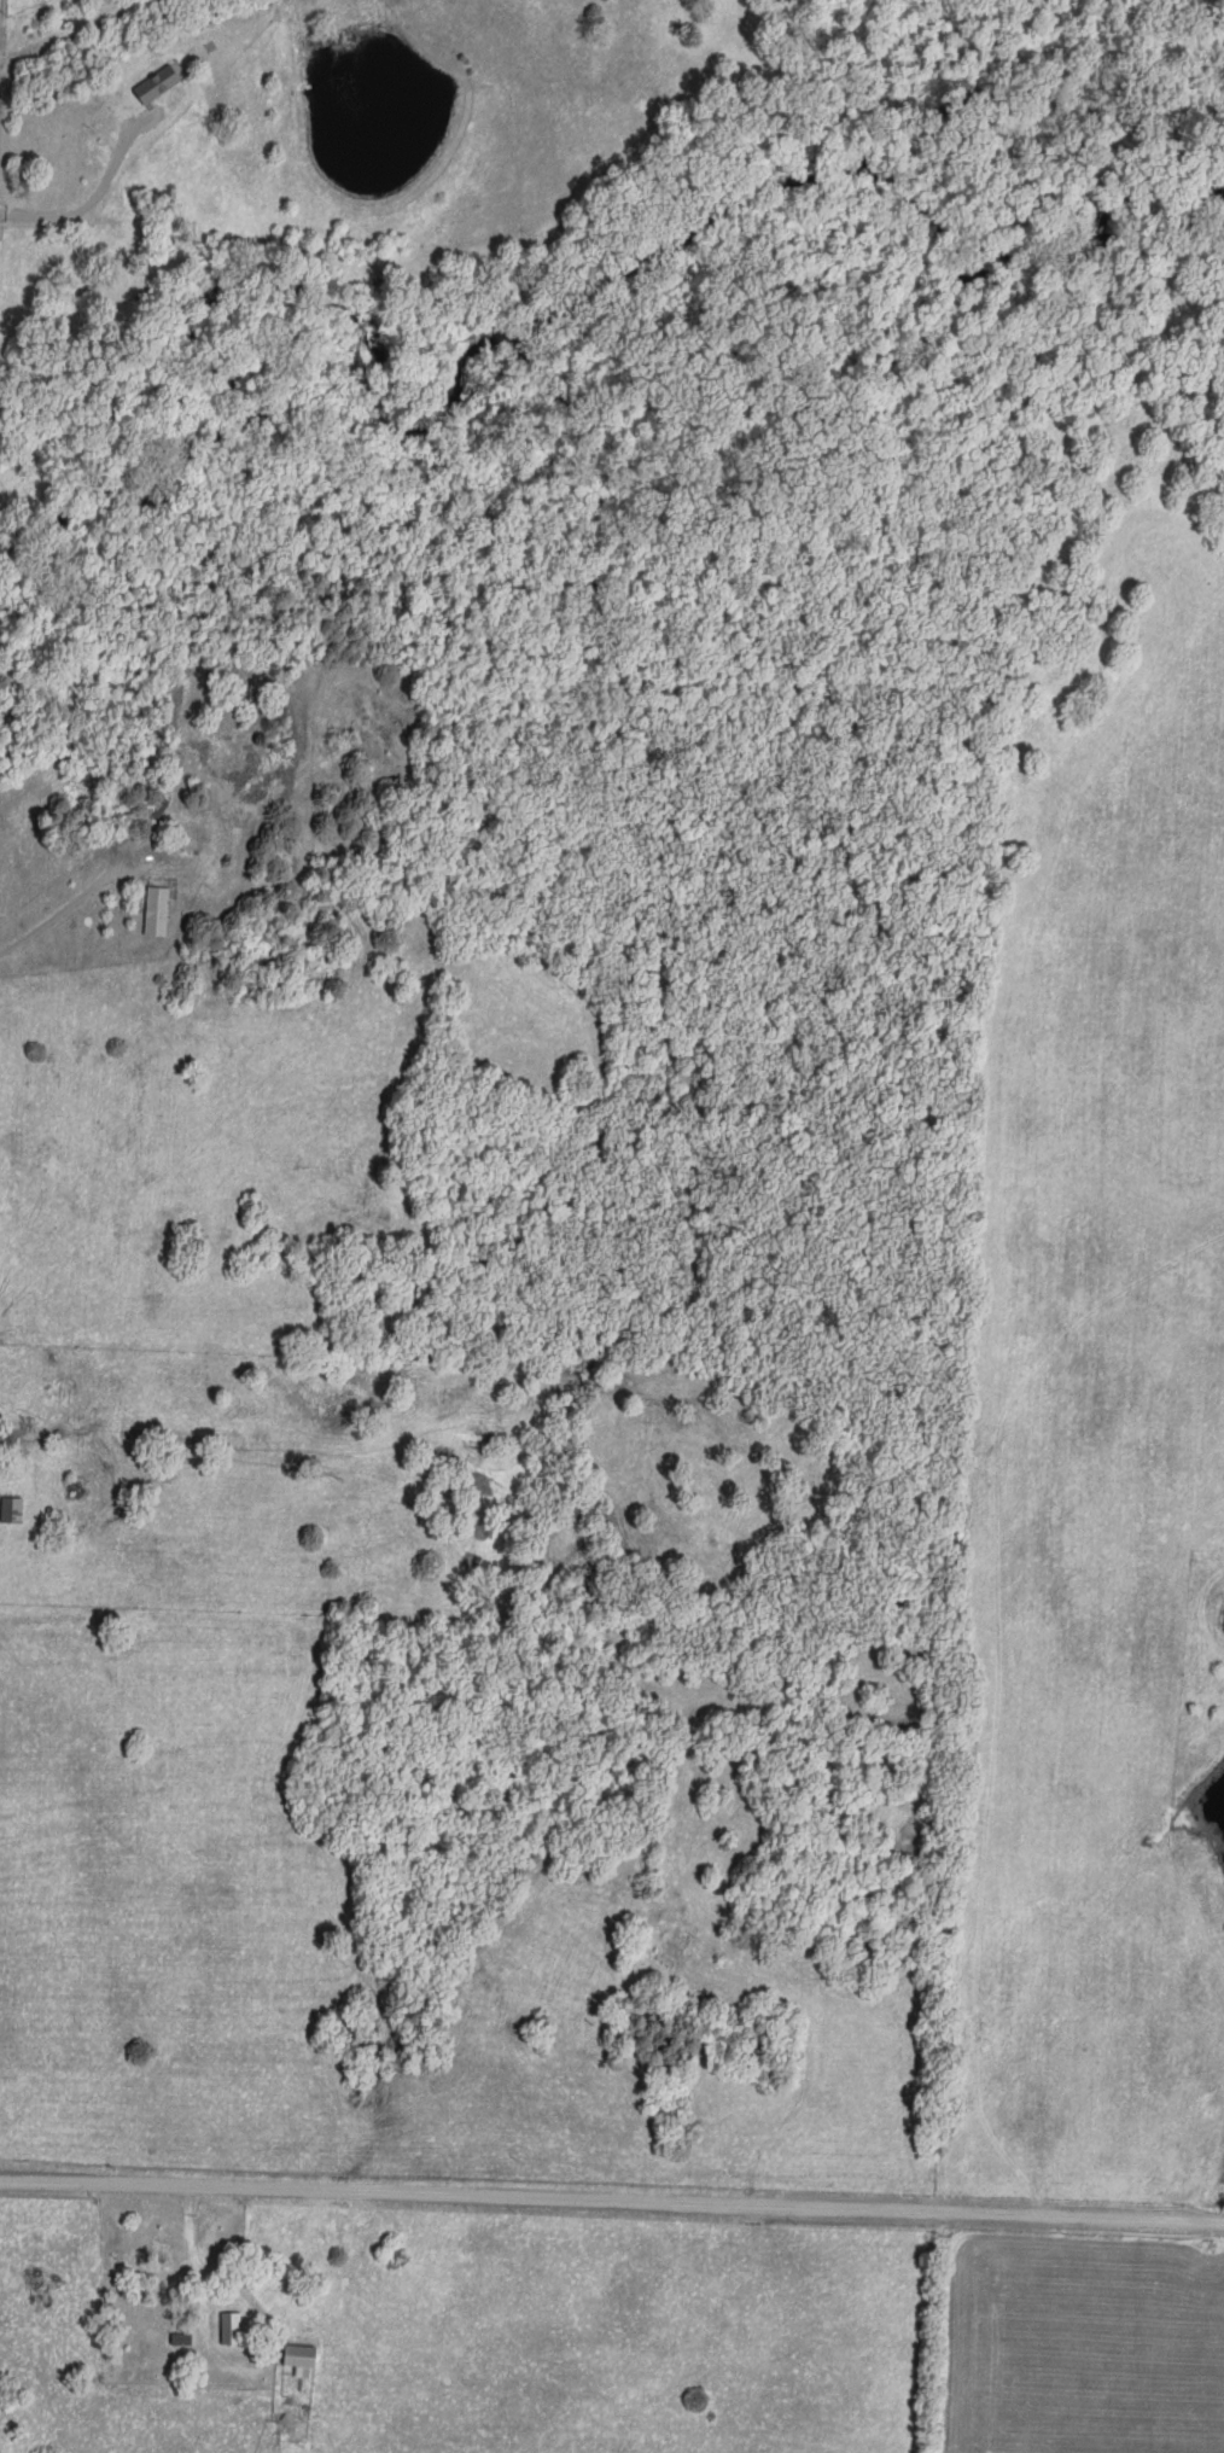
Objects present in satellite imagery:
road: (89, 197)
road: (74, 904)
building: (156, 907)
building: (10, 1507)
road: (794, 2116)
road: (94, 2183)
road: (705, 2207)
road: (191, 2251)
building: (229, 2324)
building: (299, 2356)

